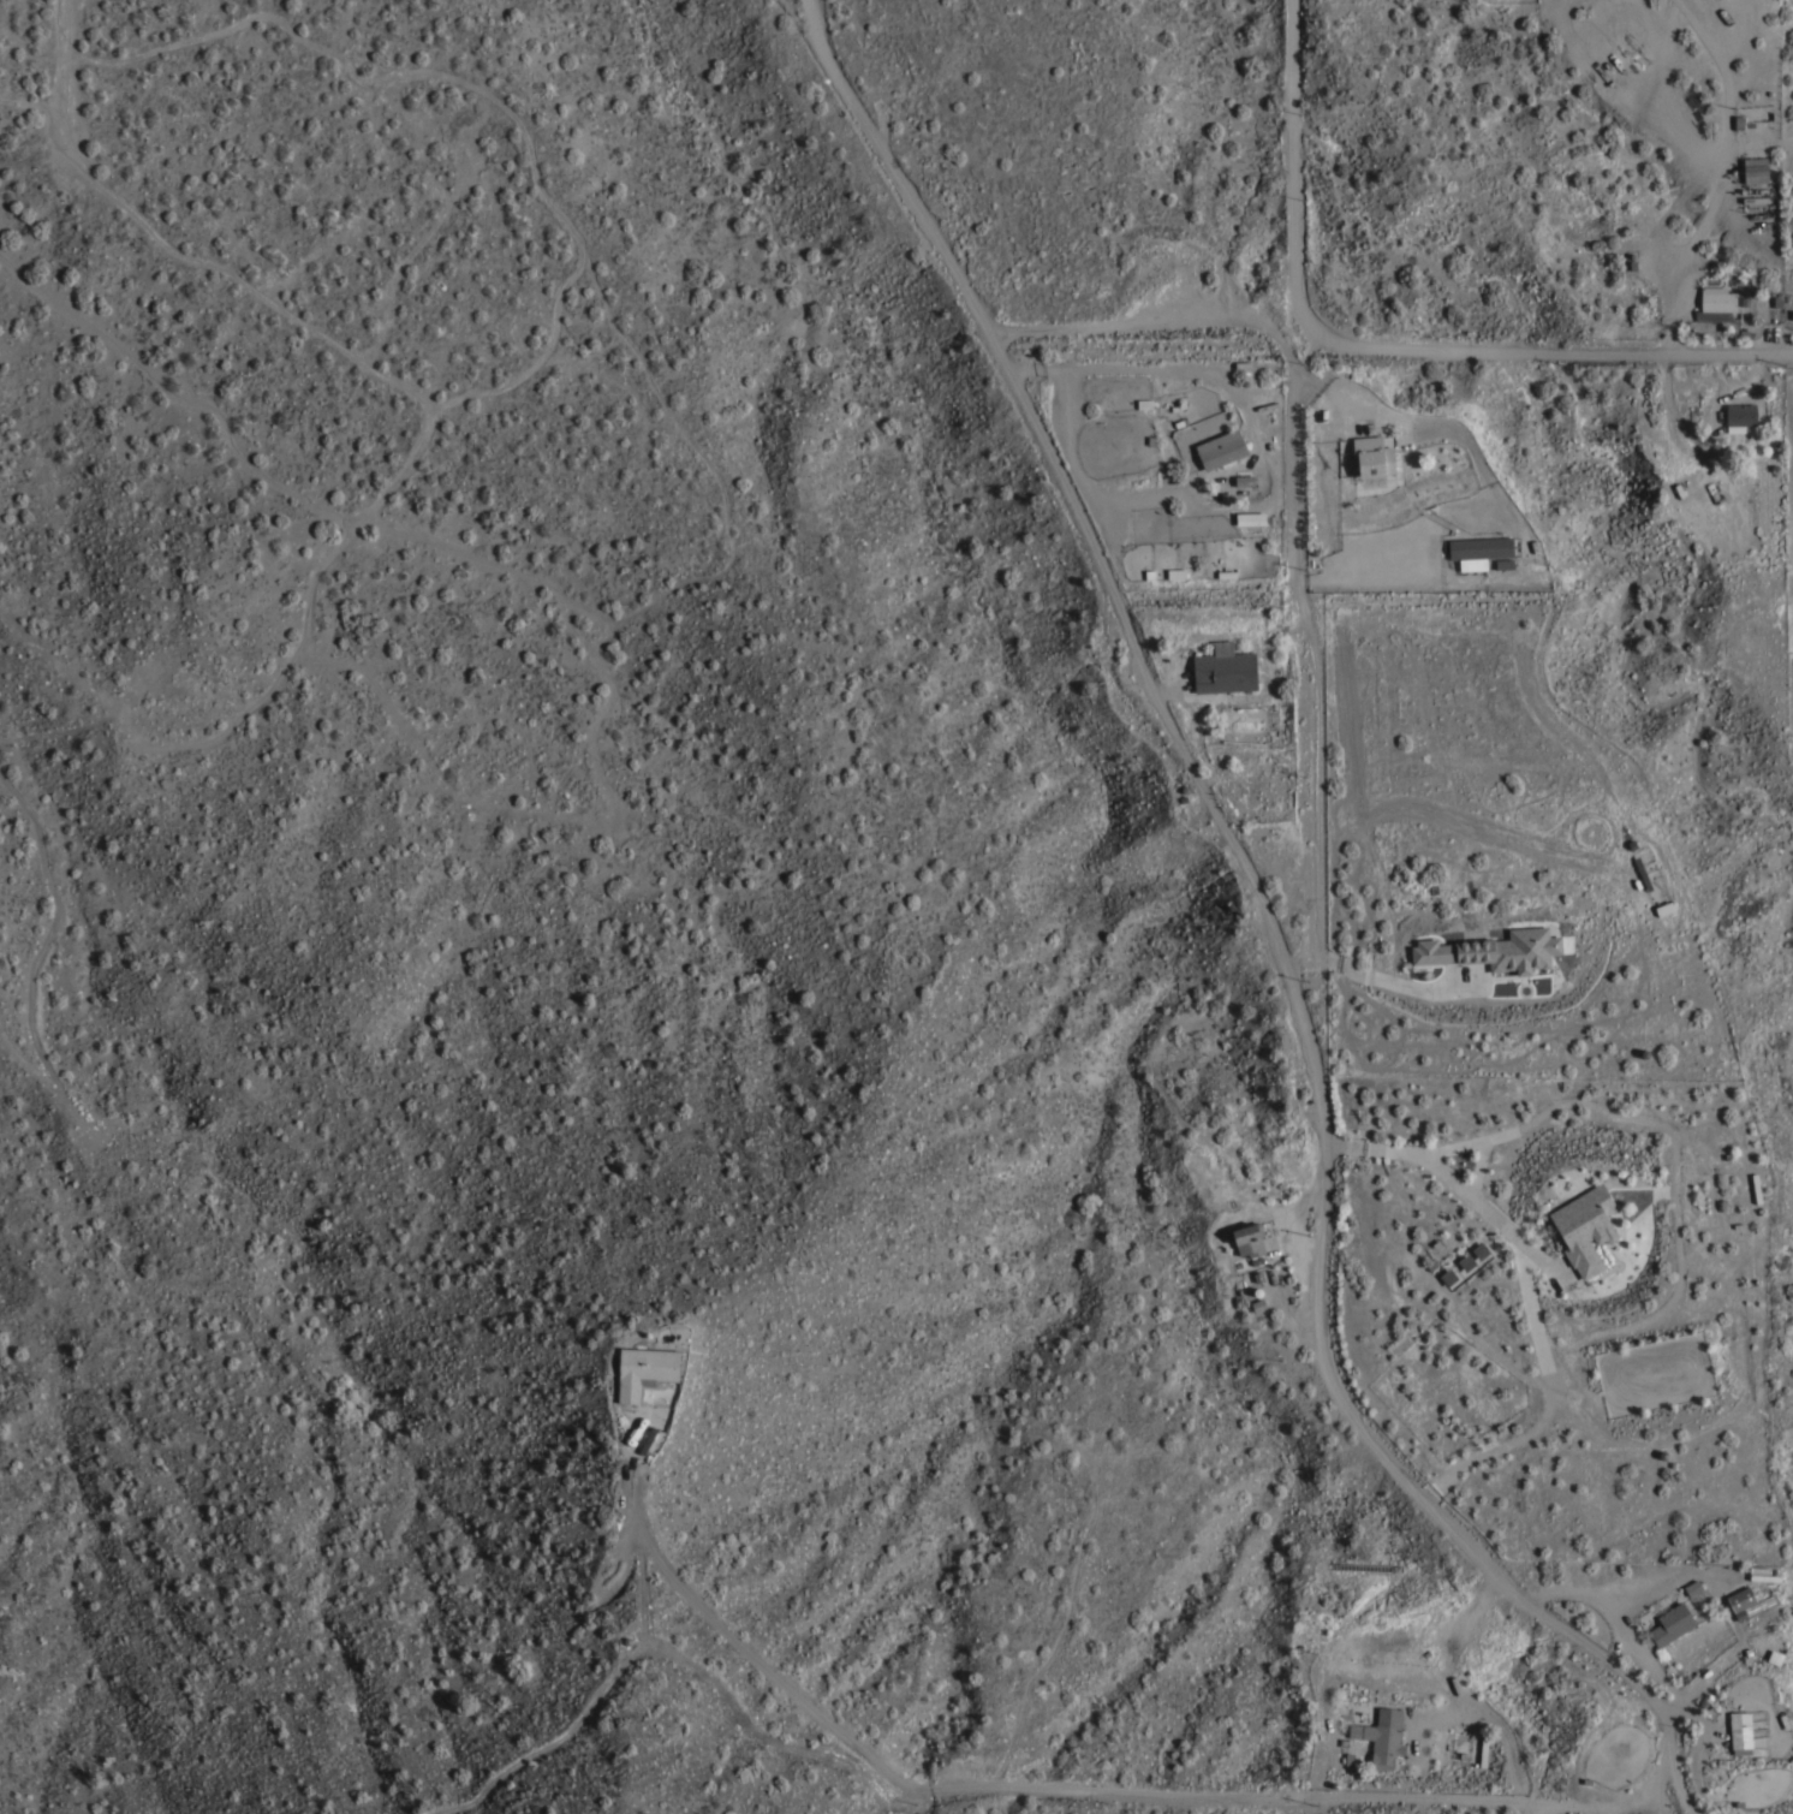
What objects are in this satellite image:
building: (1626, 56)
road: (1735, 69)
road: (1672, 91)
building: (1755, 168)
road: (1292, 188)
road: (1699, 219)
building: (1716, 298)
road: (1569, 353)
road: (1136, 358)
building: (1739, 415)
building: (1220, 448)
building: (1372, 456)
building: (1244, 480)
building: (1773, 494)
road: (1295, 510)
building: (1250, 517)
building: (1478, 549)
building: (1502, 563)
building: (1223, 668)
road: (1259, 904)
building: (1494, 951)
road: (1478, 1156)
road: (1675, 1191)
road: (1495, 1205)
building: (1584, 1226)
building: (1247, 1238)
building: (1476, 1249)
building: (1463, 1261)
building: (1444, 1275)
road: (1533, 1309)
building: (644, 1369)
building: (1741, 1596)
building: (1669, 1623)
road: (1625, 1624)
road: (735, 1636)
road: (1453, 1645)
building: (1774, 1655)
road: (1708, 1669)
road: (1420, 1717)
building: (1740, 1731)
building: (1378, 1741)
road: (1326, 1797)
road: (1533, 1808)
road: (1604, 1809)

